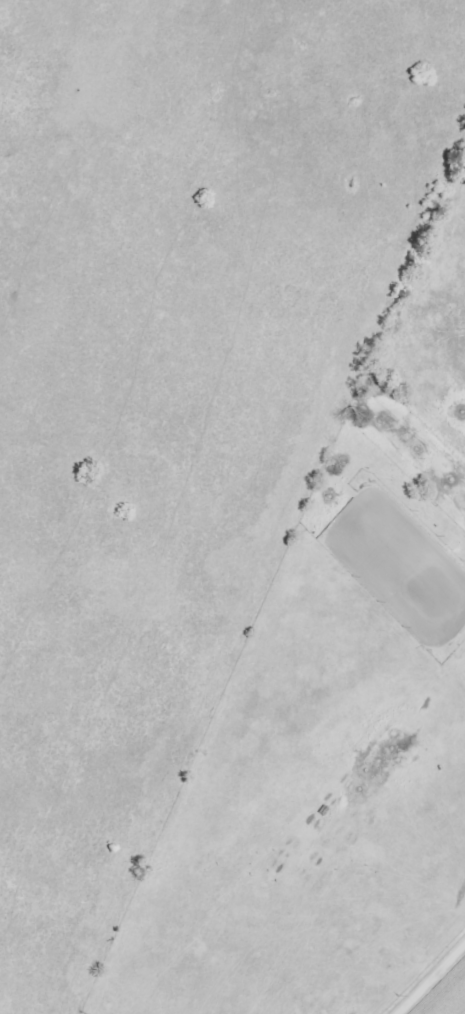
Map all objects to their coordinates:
road: (429, 977)

